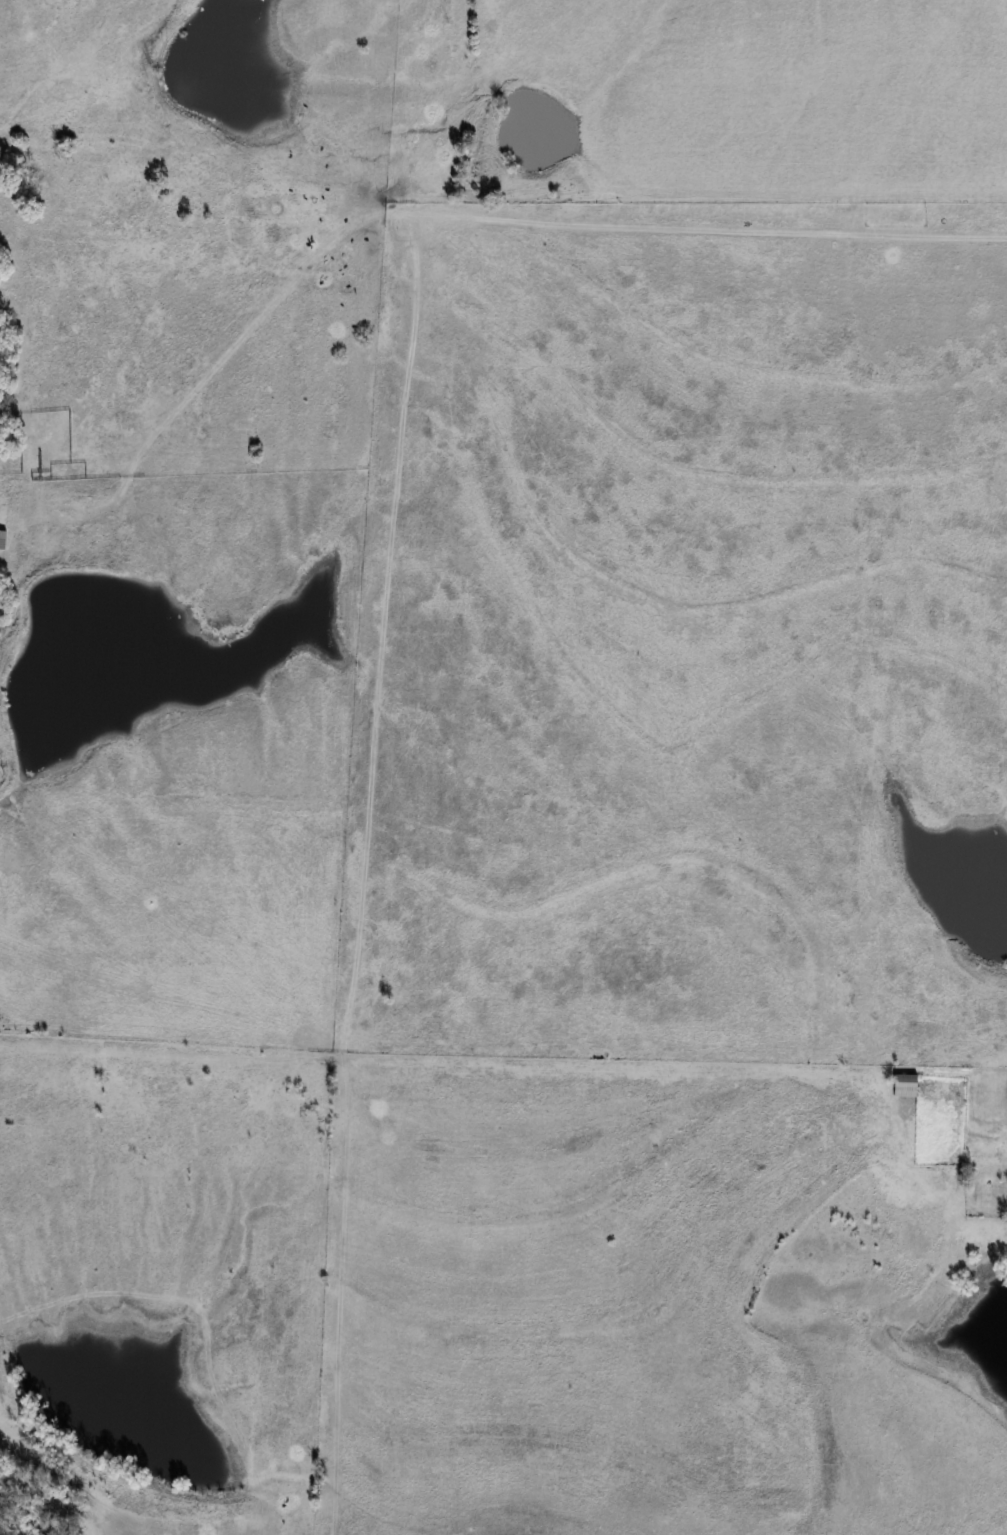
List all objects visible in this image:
road: (514, 216)
building: (1, 540)
building: (903, 1085)

